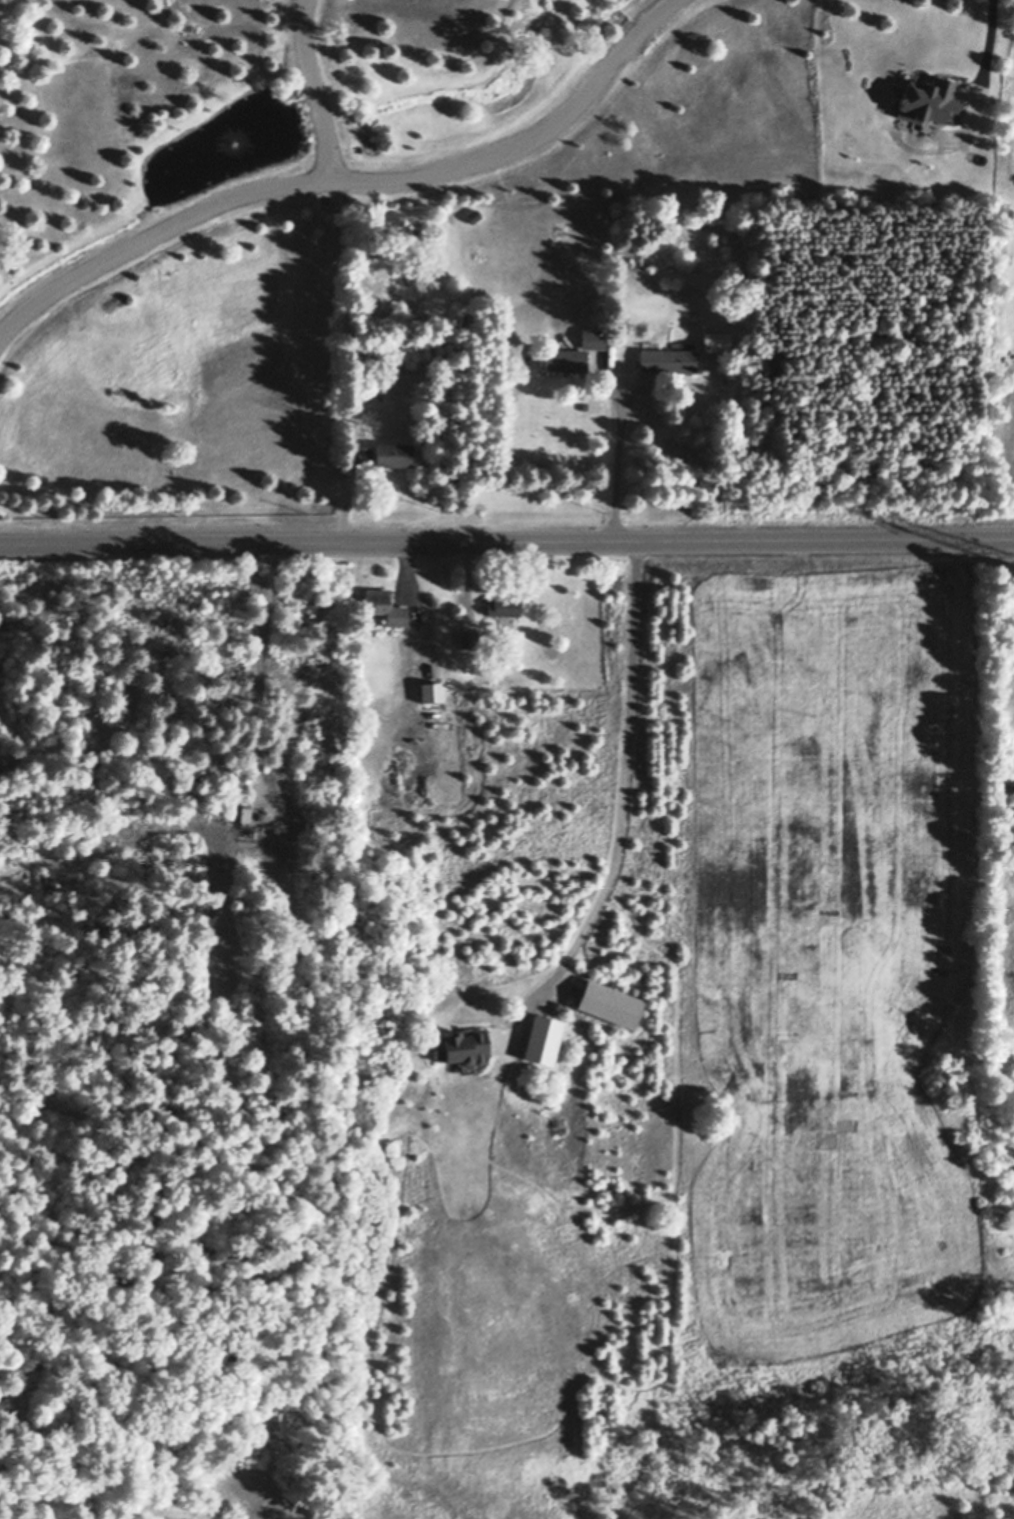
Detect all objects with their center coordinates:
road: (984, 48)
road: (313, 90)
road: (347, 180)
building: (474, 216)
building: (592, 338)
building: (716, 340)
building: (669, 358)
building: (565, 359)
building: (362, 454)
building: (393, 454)
road: (624, 465)
road: (506, 537)
building: (385, 606)
building: (504, 606)
building: (420, 617)
building: (468, 638)
building: (449, 685)
building: (431, 692)
road: (629, 792)
building: (245, 814)
building: (239, 815)
building: (422, 1042)
building: (462, 1048)
building: (519, 1060)

